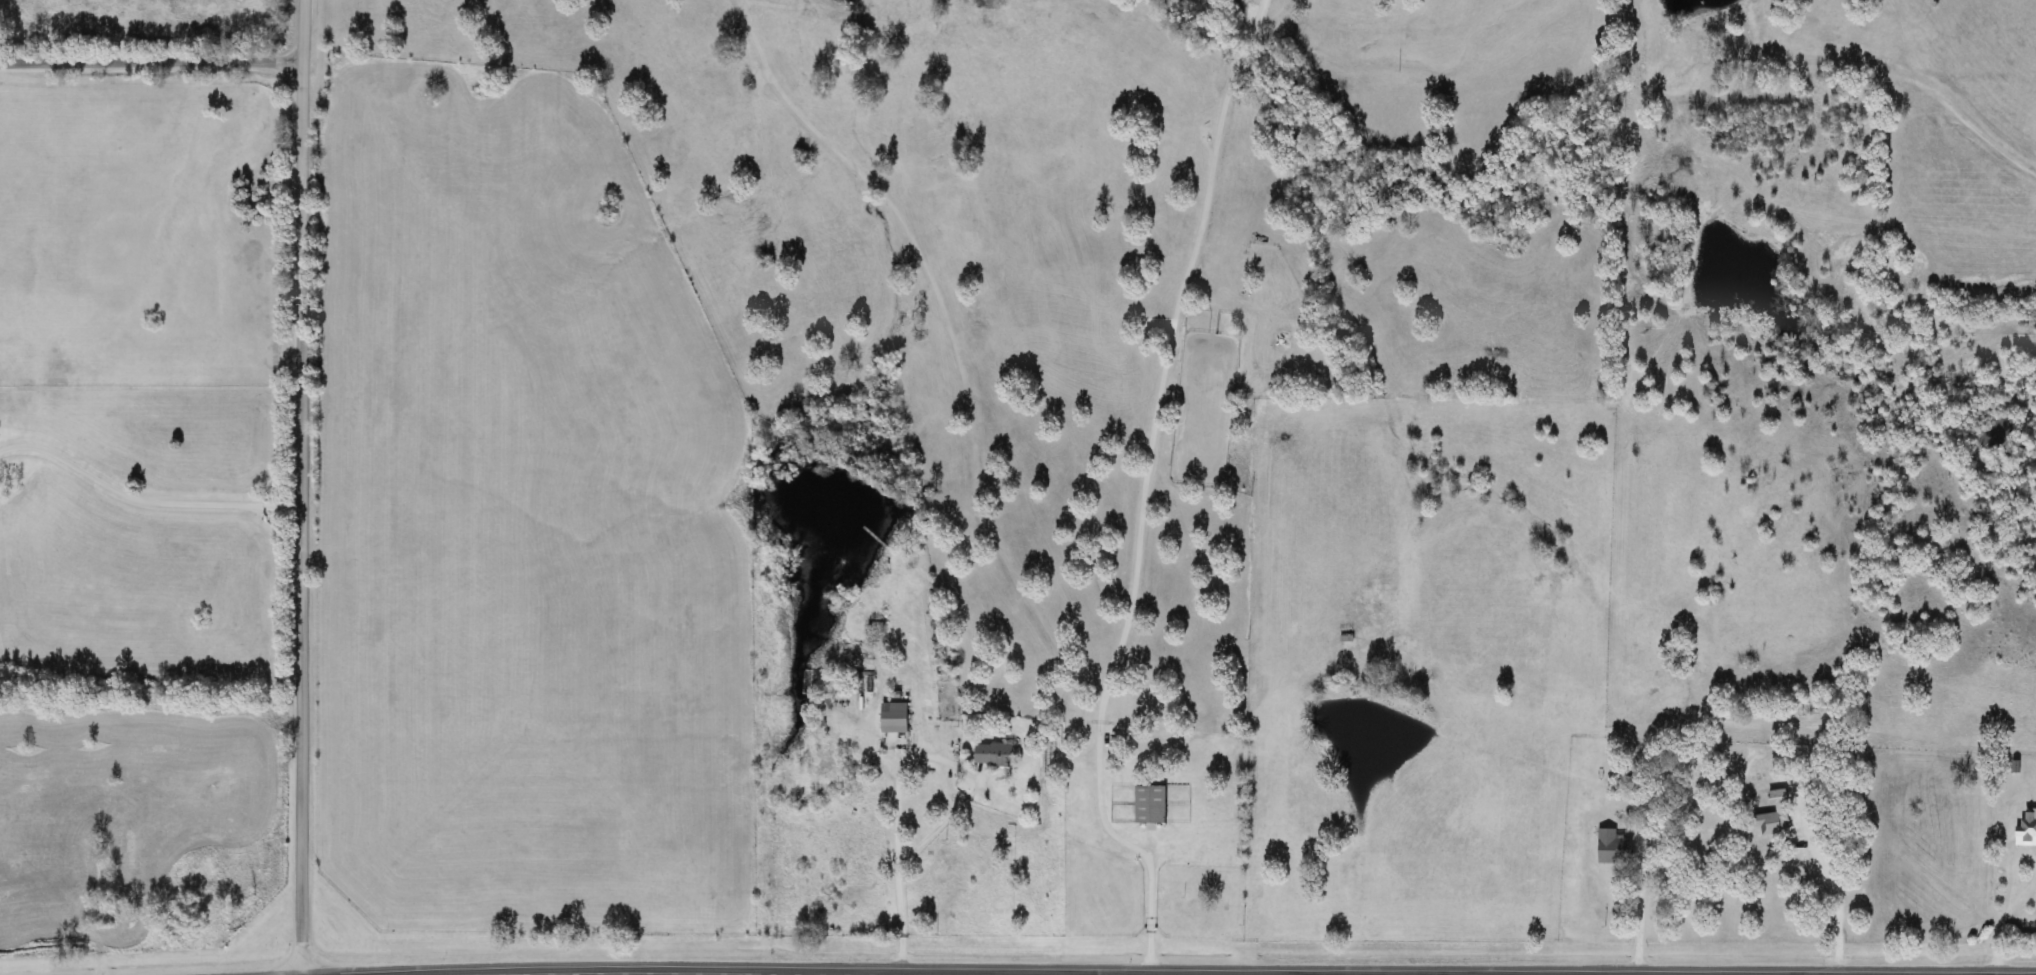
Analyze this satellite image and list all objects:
road: (153, 62)
road: (1143, 434)
road: (306, 487)
road: (146, 498)
building: (891, 717)
building: (991, 753)
road: (939, 754)
building: (1148, 803)
building: (2025, 827)
building: (1610, 848)
road: (2011, 875)
road: (1828, 880)
road: (2022, 900)
road: (1144, 912)
road: (894, 920)
road: (1627, 926)
road: (1998, 943)

